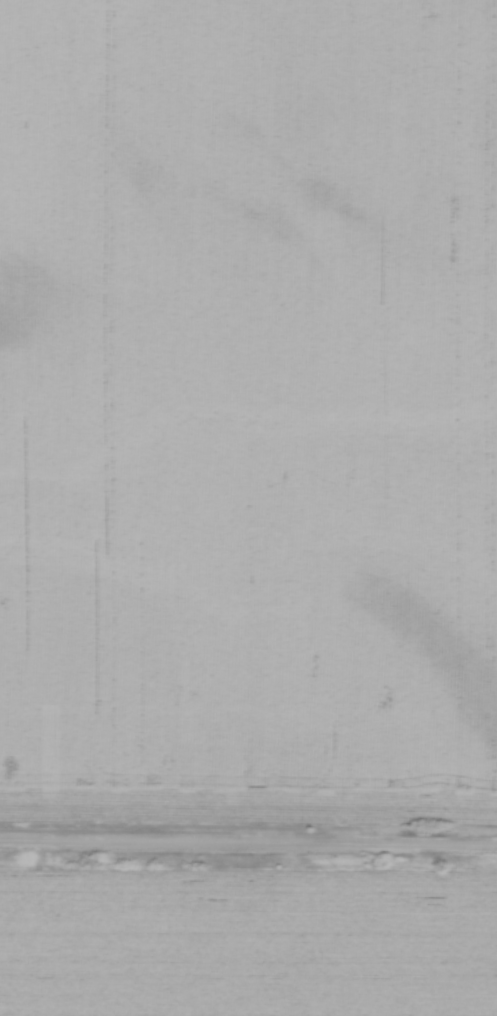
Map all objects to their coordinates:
road: (248, 853)

